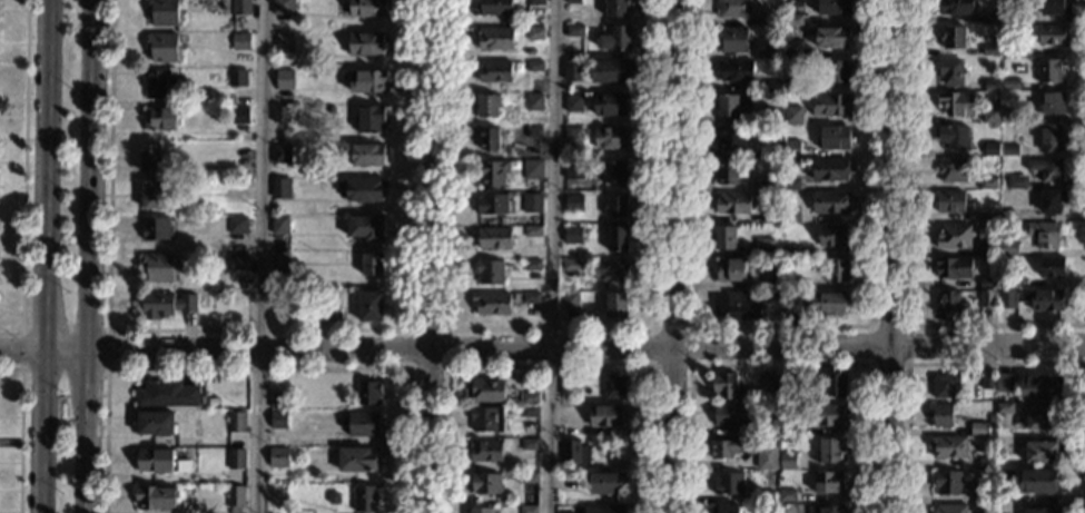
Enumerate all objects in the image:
building: (302, 0)
building: (573, 1)
building: (536, 2)
building: (282, 7)
building: (494, 7)
building: (955, 7)
building: (1053, 7)
building: (240, 8)
building: (367, 8)
building: (617, 8)
building: (835, 8)
building: (734, 9)
building: (164, 12)
building: (1009, 16)
building: (769, 18)
building: (795, 18)
building: (990, 18)
building: (574, 29)
building: (534, 33)
building: (1052, 34)
building: (614, 37)
building: (834, 37)
building: (953, 37)
building: (496, 39)
building: (733, 39)
building: (240, 41)
building: (284, 41)
building: (366, 43)
building: (161, 47)
building: (793, 48)
building: (1009, 49)
building: (992, 50)
building: (772, 51)
building: (534, 66)
building: (494, 70)
building: (611, 70)
building: (737, 70)
building: (950, 70)
building: (1049, 70)
building: (573, 71)
building: (837, 71)
building: (237, 78)
building: (284, 79)
building: (367, 81)
building: (158, 83)
building: (1009, 83)
building: (772, 85)
building: (795, 85)
building: (990, 85)
building: (534, 101)
building: (573, 102)
building: (956, 102)
building: (830, 103)
building: (609, 105)
building: (728, 105)
building: (1052, 105)
building: (487, 106)
building: (280, 114)
building: (793, 114)
building: (239, 115)
building: (775, 115)
building: (990, 115)
building: (1008, 116)
building: (371, 118)
building: (161, 119)
building: (533, 132)
building: (572, 136)
building: (954, 136)
building: (611, 137)
building: (834, 137)
building: (1049, 137)
building: (731, 138)
building: (489, 139)
building: (791, 148)
building: (1009, 149)
building: (990, 150)
building: (772, 151)
building: (280, 154)
building: (367, 154)
building: (150, 158)
building: (830, 168)
building: (1046, 168)
building: (532, 169)
building: (572, 170)
building: (951, 170)
building: (613, 171)
building: (728, 172)
road: (432, 174)
building: (493, 174)
road: (23, 175)
building: (771, 180)
building: (986, 182)
building: (1016, 182)
building: (790, 184)
building: (280, 187)
building: (361, 189)
building: (154, 195)
building: (532, 198)
building: (831, 201)
building: (950, 201)
building: (1051, 201)
building: (733, 203)
building: (492, 204)
building: (573, 204)
building: (617, 206)
building: (1006, 215)
building: (987, 216)
building: (770, 217)
building: (790, 217)
building: (237, 225)
building: (279, 225)
building: (156, 228)
building: (365, 228)
building: (532, 230)
building: (572, 235)
building: (831, 235)
building: (954, 235)
building: (1047, 235)
building: (724, 237)
building: (494, 238)
building: (615, 238)
building: (763, 247)
building: (987, 248)
building: (1008, 248)
building: (790, 250)
road: (908, 250)
road: (41, 256)
road: (87, 256)
road: (257, 256)
road: (553, 256)
road: (675, 256)
road: (891, 256)
building: (278, 260)
building: (238, 262)
building: (372, 264)
building: (571, 264)
building: (532, 265)
building: (159, 266)
building: (953, 266)
building: (1052, 267)
building: (610, 269)
building: (730, 269)
building: (837, 269)
building: (490, 272)
building: (770, 282)
building: (988, 282)
building: (1006, 282)
building: (796, 284)
building: (244, 285)
building: (531, 297)
building: (987, 298)
building: (1033, 298)
building: (570, 299)
building: (770, 300)
building: (947, 300)
building: (828, 302)
building: (492, 304)
building: (790, 304)
building: (165, 305)
building: (617, 305)
building: (736, 305)
building: (369, 306)
building: (329, 313)
road: (778, 327)
road: (548, 329)
road: (108, 331)
road: (257, 331)
road: (542, 348)
road: (1084, 354)
road: (907, 364)
road: (996, 365)
road: (779, 366)
road: (445, 367)
road: (548, 367)
road: (650, 367)
road: (257, 368)
building: (987, 379)
building: (1004, 382)
building: (769, 383)
building: (835, 384)
building: (944, 384)
building: (726, 385)
building: (569, 386)
building: (614, 386)
building: (486, 388)
building: (1038, 388)
building: (790, 389)
building: (368, 392)
building: (166, 393)
building: (530, 396)
building: (279, 399)
building: (1005, 406)
building: (568, 408)
building: (530, 411)
building: (827, 413)
building: (605, 414)
building: (943, 414)
building: (731, 415)
building: (1043, 416)
building: (992, 417)
building: (278, 418)
building: (486, 418)
building: (236, 422)
building: (157, 423)
building: (362, 423)
building: (571, 428)
road: (20, 430)
building: (789, 430)
building: (977, 430)
road: (426, 431)
building: (768, 431)
building: (529, 443)
building: (1004, 443)
building: (948, 446)
building: (726, 447)
building: (779, 448)
building: (486, 450)
building: (574, 450)
building: (830, 451)
building: (1042, 451)
building: (279, 456)
building: (766, 457)
building: (236, 458)
building: (357, 458)
building: (159, 460)
building: (788, 460)
building: (986, 463)
building: (529, 477)
building: (1003, 477)
building: (566, 480)
building: (1038, 480)
building: (828, 481)
building: (485, 482)
building: (605, 482)
building: (728, 482)
building: (947, 482)
building: (788, 494)
building: (983, 494)
building: (156, 495)
building: (765, 496)
building: (235, 497)
building: (365, 497)
building: (603, 507)
building: (726, 507)
building: (527, 509)
building: (949, 509)
building: (483, 510)
building: (826, 510)
building: (1042, 510)
building: (566, 512)

